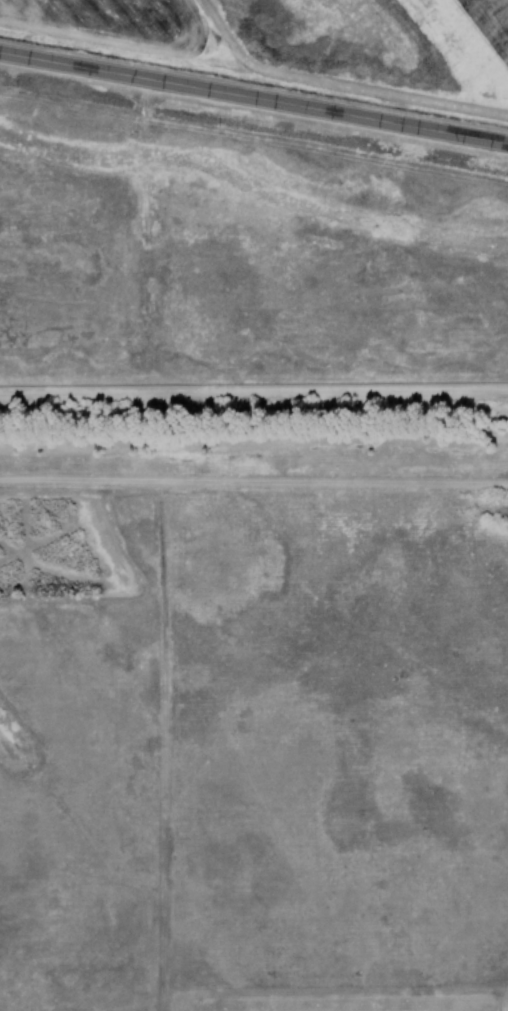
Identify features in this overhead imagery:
road: (254, 100)

